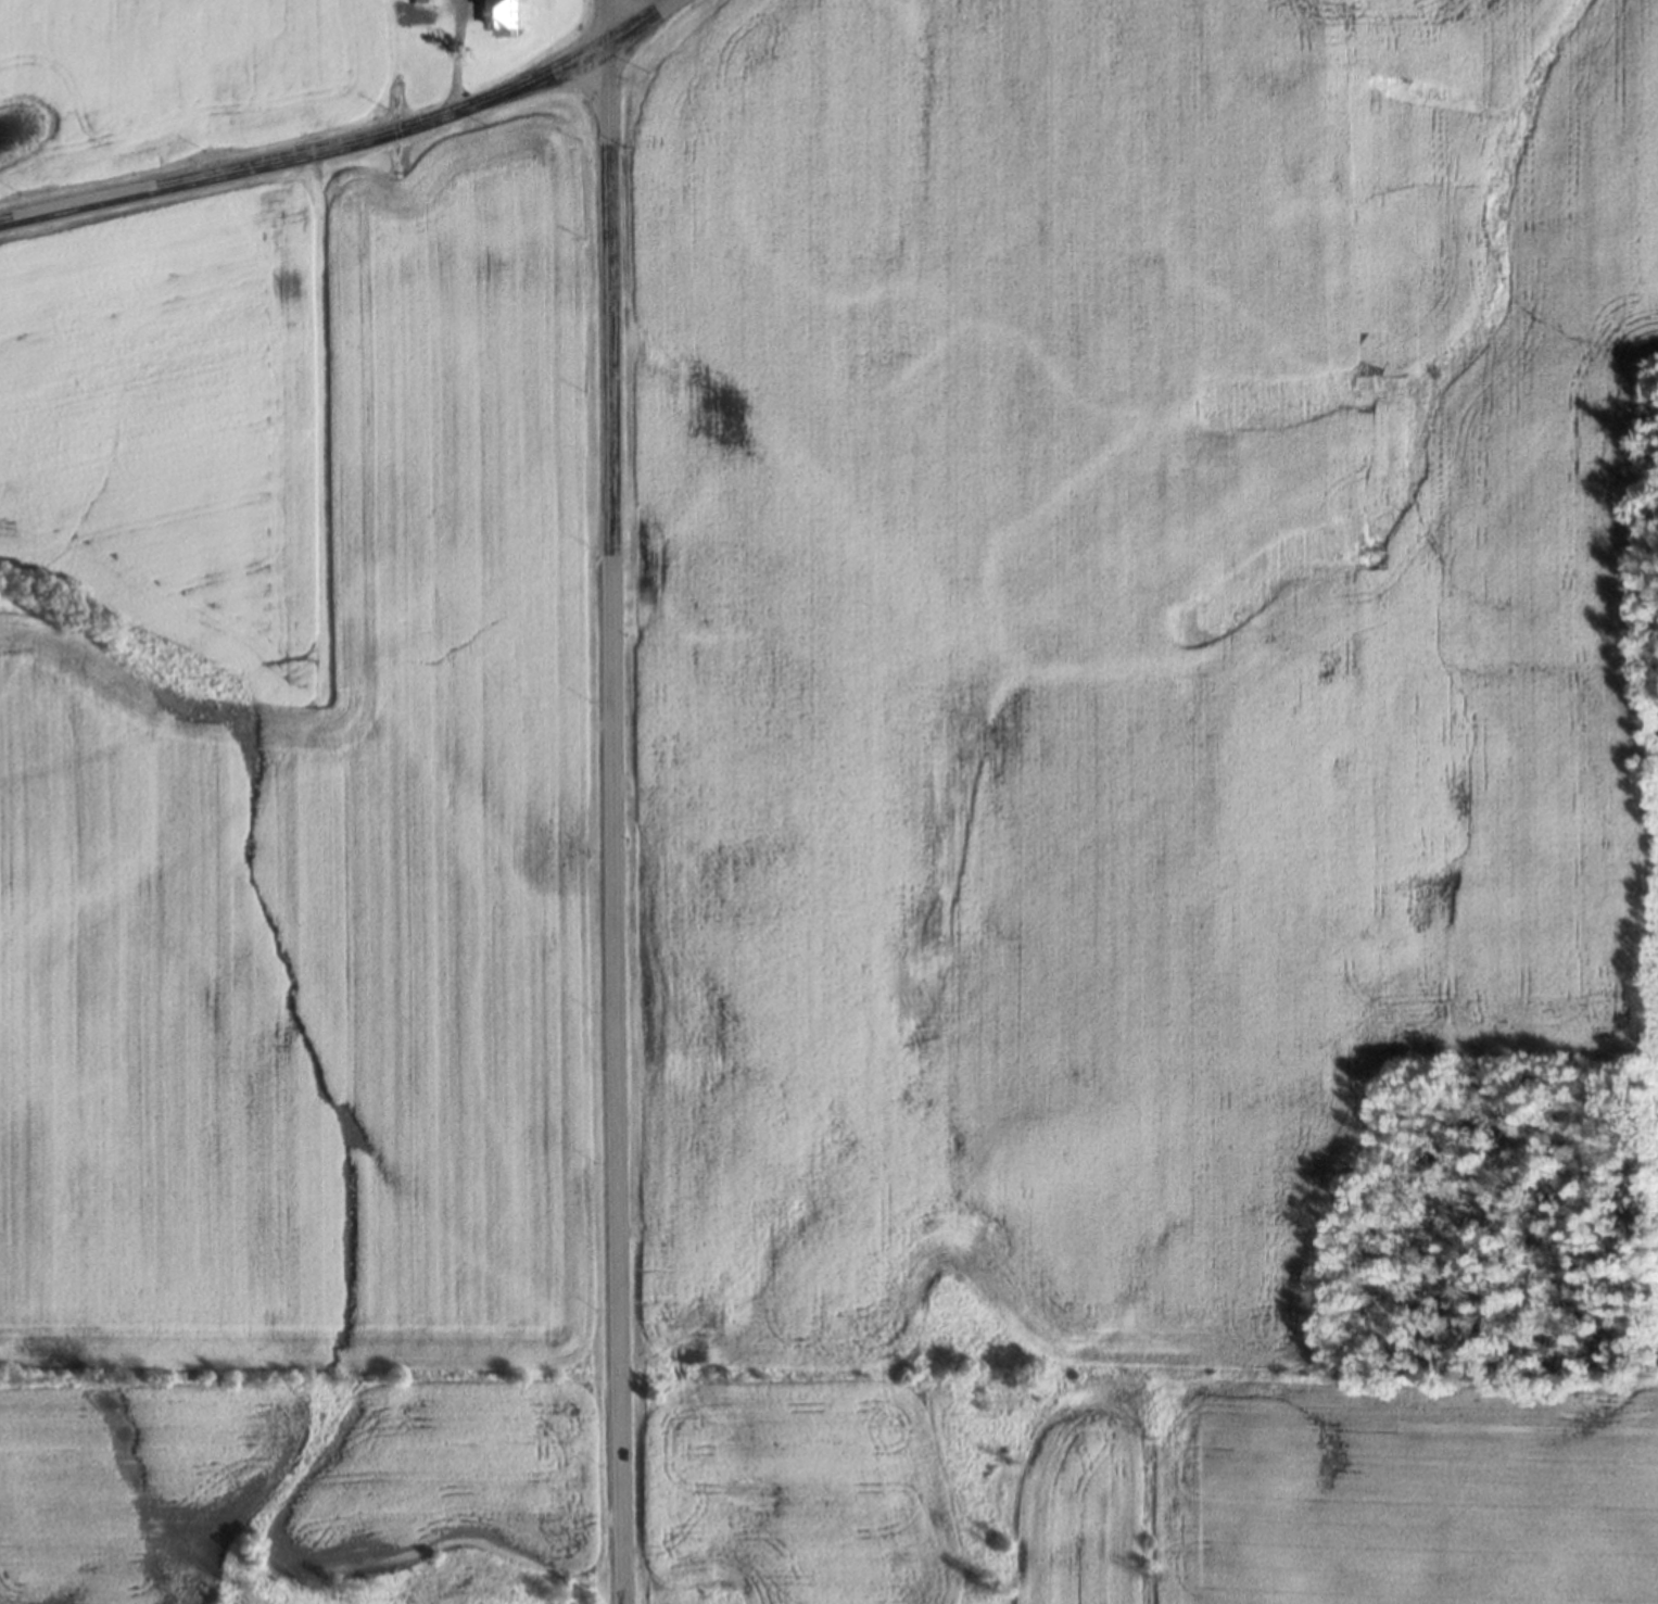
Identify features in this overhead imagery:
building: (428, 1)
building: (511, 17)
road: (606, 17)
road: (637, 17)
road: (312, 152)
road: (615, 819)

